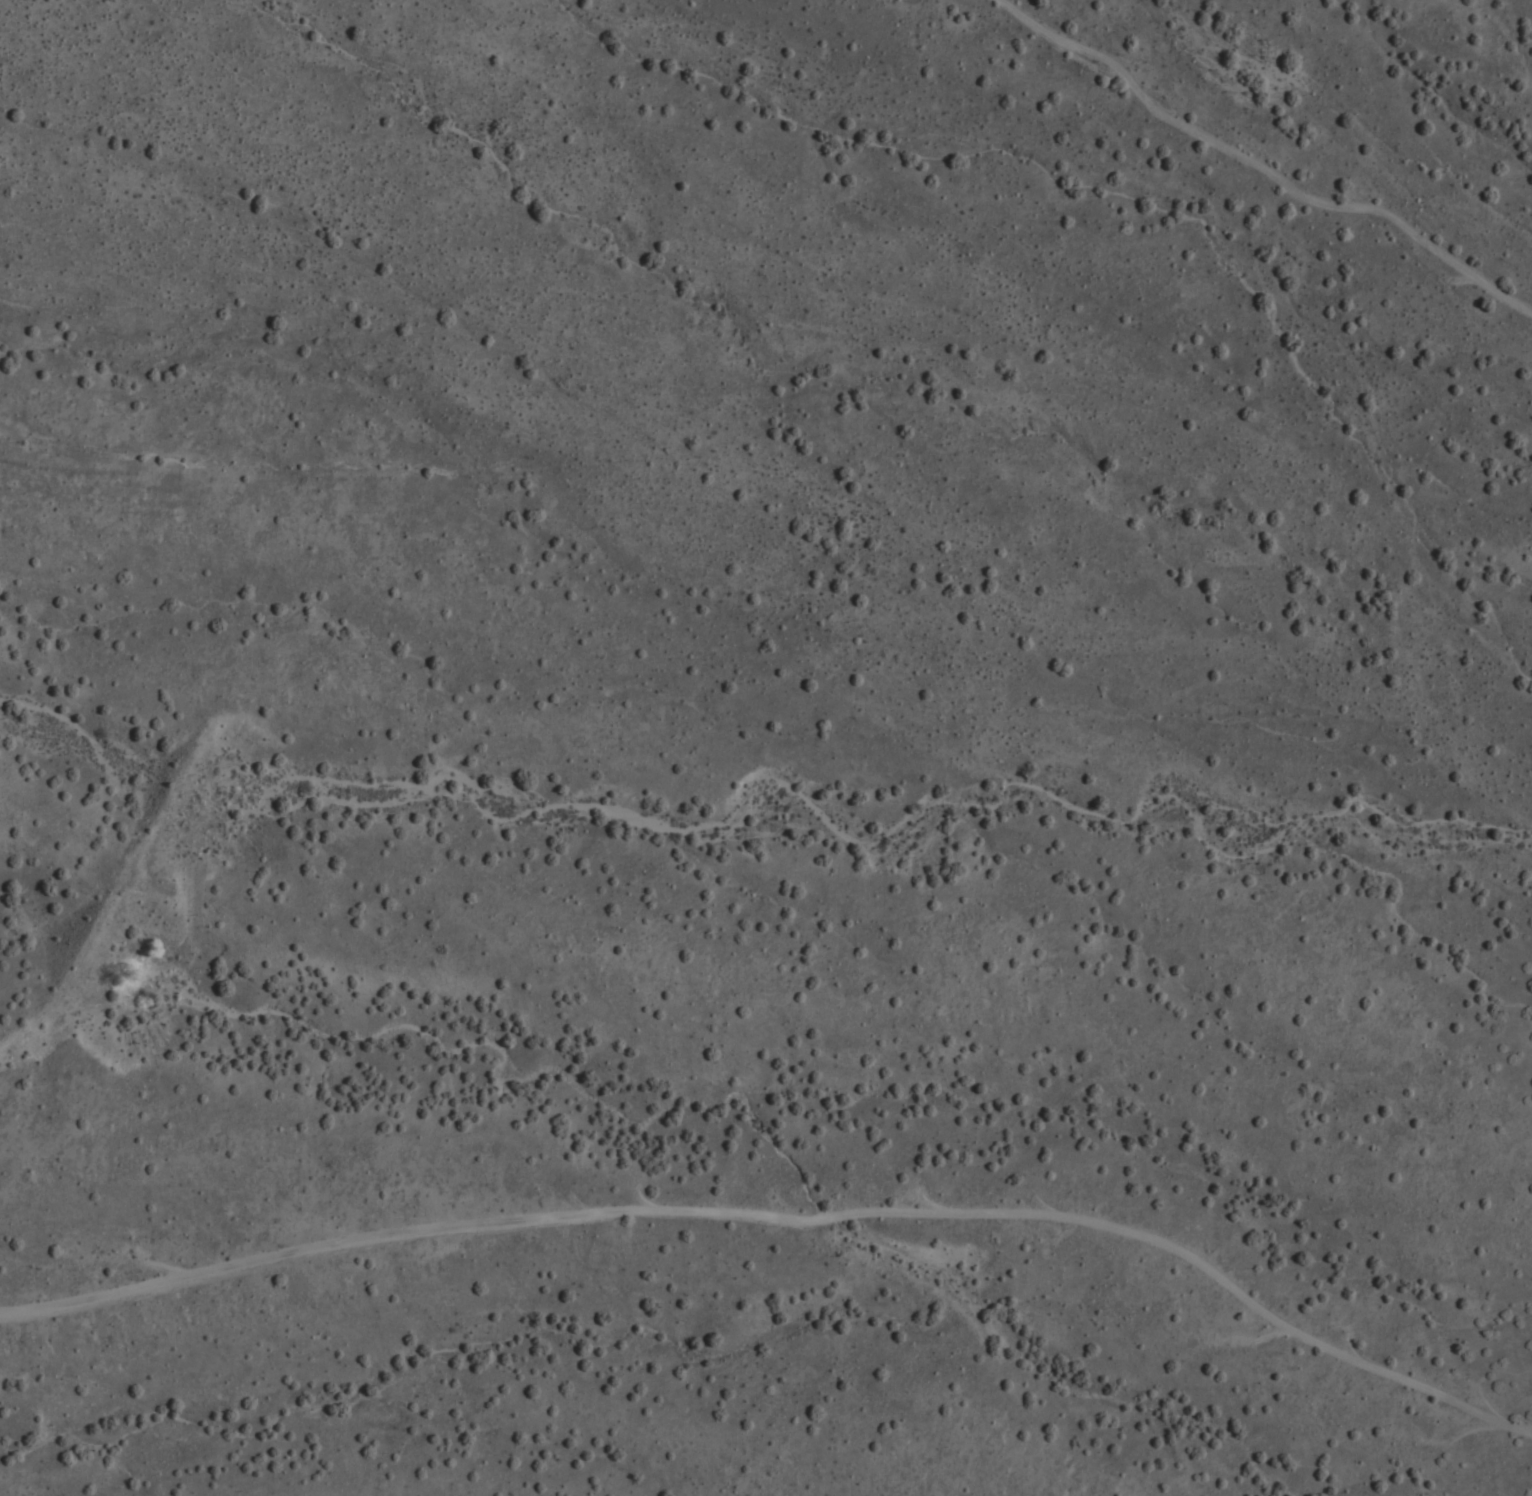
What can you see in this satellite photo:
road: (1258, 170)
road: (787, 1216)

